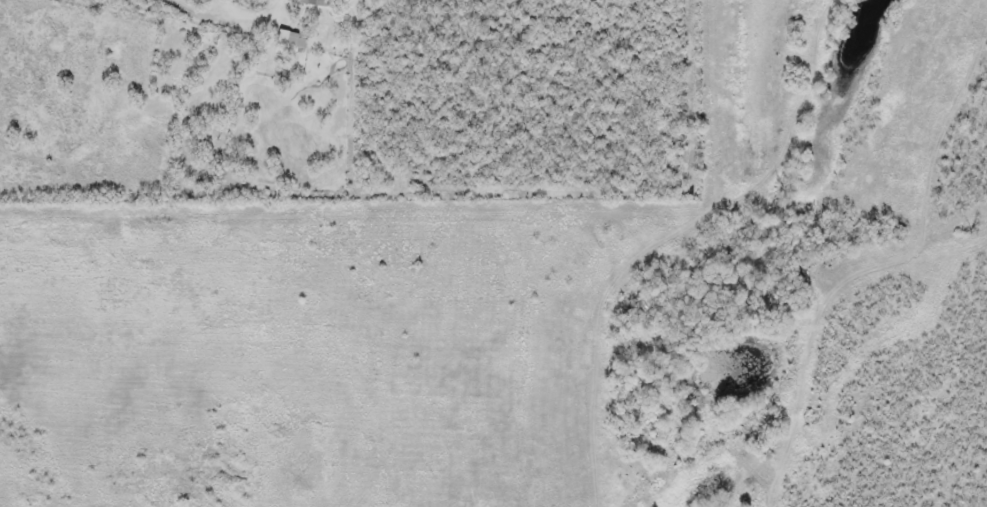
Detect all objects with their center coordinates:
building: (314, 3)
building: (292, 42)

